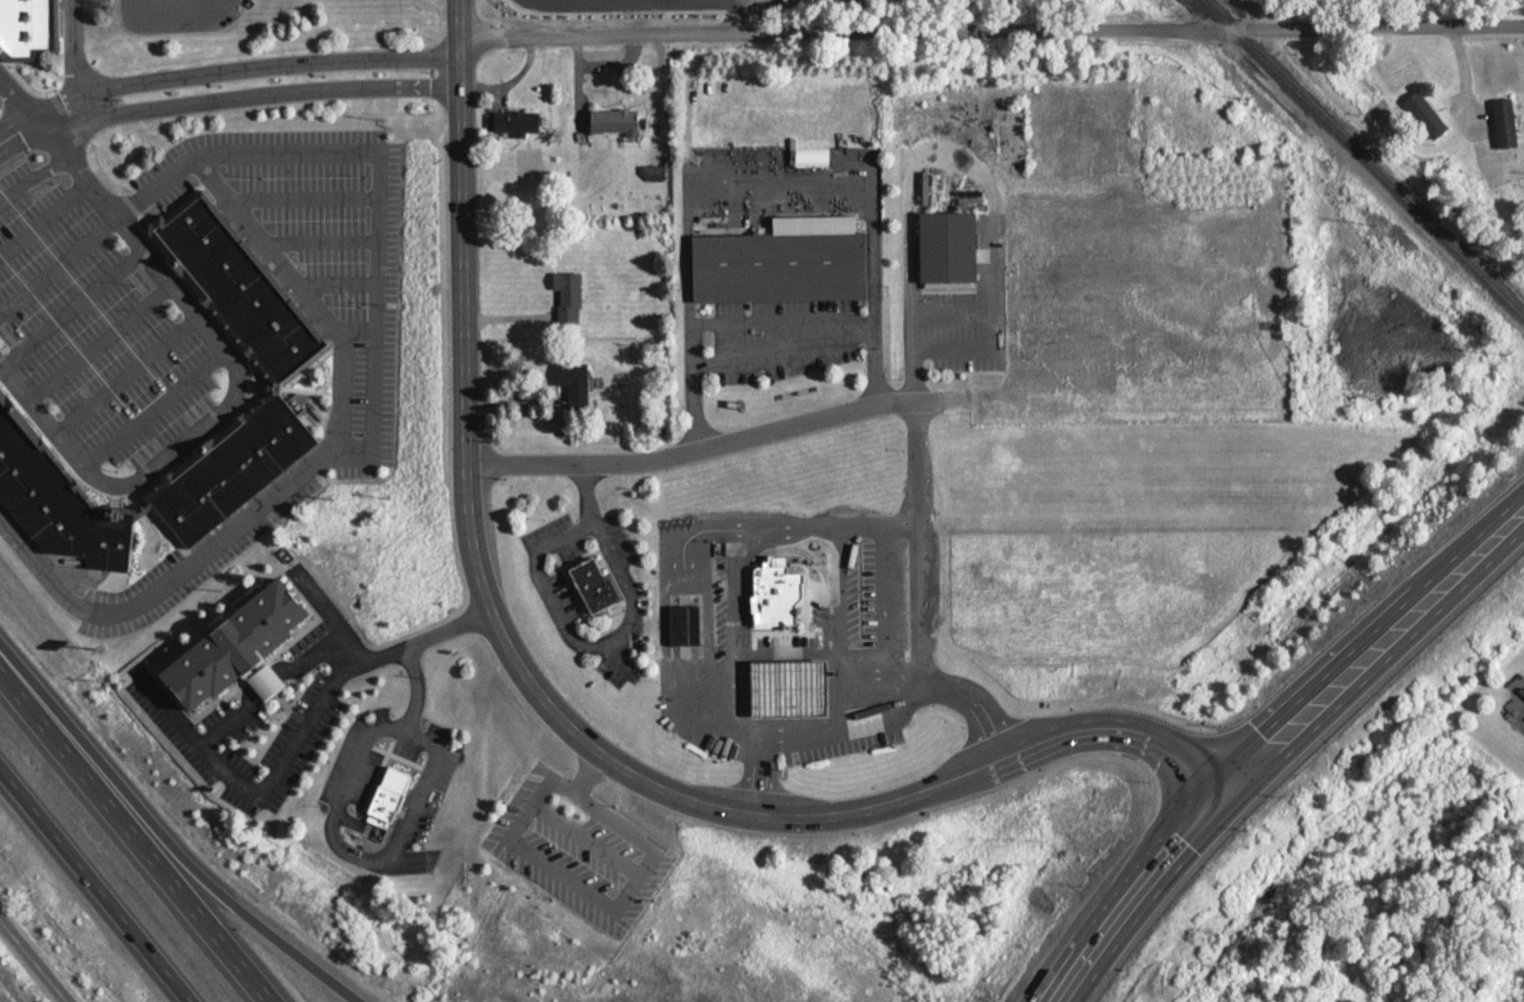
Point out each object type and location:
road: (156, 6)
building: (30, 29)
road: (991, 32)
road: (77, 53)
road: (265, 67)
road: (602, 67)
road: (268, 93)
building: (1425, 115)
road: (38, 119)
building: (615, 122)
building: (1505, 122)
building: (516, 123)
building: (1004, 135)
road: (956, 157)
railway: (1365, 157)
building: (653, 173)
road: (29, 181)
road: (751, 184)
road: (41, 221)
building: (948, 238)
road: (284, 256)
building: (780, 259)
road: (54, 265)
building: (238, 286)
building: (569, 289)
road: (71, 310)
road: (781, 323)
road: (95, 341)
road: (210, 351)
road: (770, 353)
road: (121, 373)
building: (574, 375)
road: (372, 392)
road: (699, 443)
building: (230, 469)
building: (60, 506)
road: (691, 520)
road: (867, 523)
road: (700, 531)
road: (922, 545)
building: (592, 587)
building: (778, 595)
road: (886, 601)
road: (331, 615)
building: (685, 625)
road: (693, 625)
road: (680, 626)
road: (729, 634)
road: (611, 635)
road: (1360, 638)
road: (431, 639)
building: (239, 646)
road: (353, 649)
road: (614, 652)
road: (303, 658)
road: (692, 670)
road: (1374, 674)
road: (269, 677)
road: (847, 677)
building: (789, 686)
road: (168, 707)
road: (554, 712)
road: (729, 729)
road: (851, 730)
road: (586, 770)
building: (385, 787)
road: (255, 792)
traffic signals: (1213, 801)
road: (606, 812)
road: (136, 831)
road: (332, 831)
road: (587, 838)
road: (525, 854)
road: (196, 874)
road: (634, 881)
road: (97, 883)
road: (1146, 886)
road: (34, 959)
road: (1056, 985)
road: (1066, 985)

